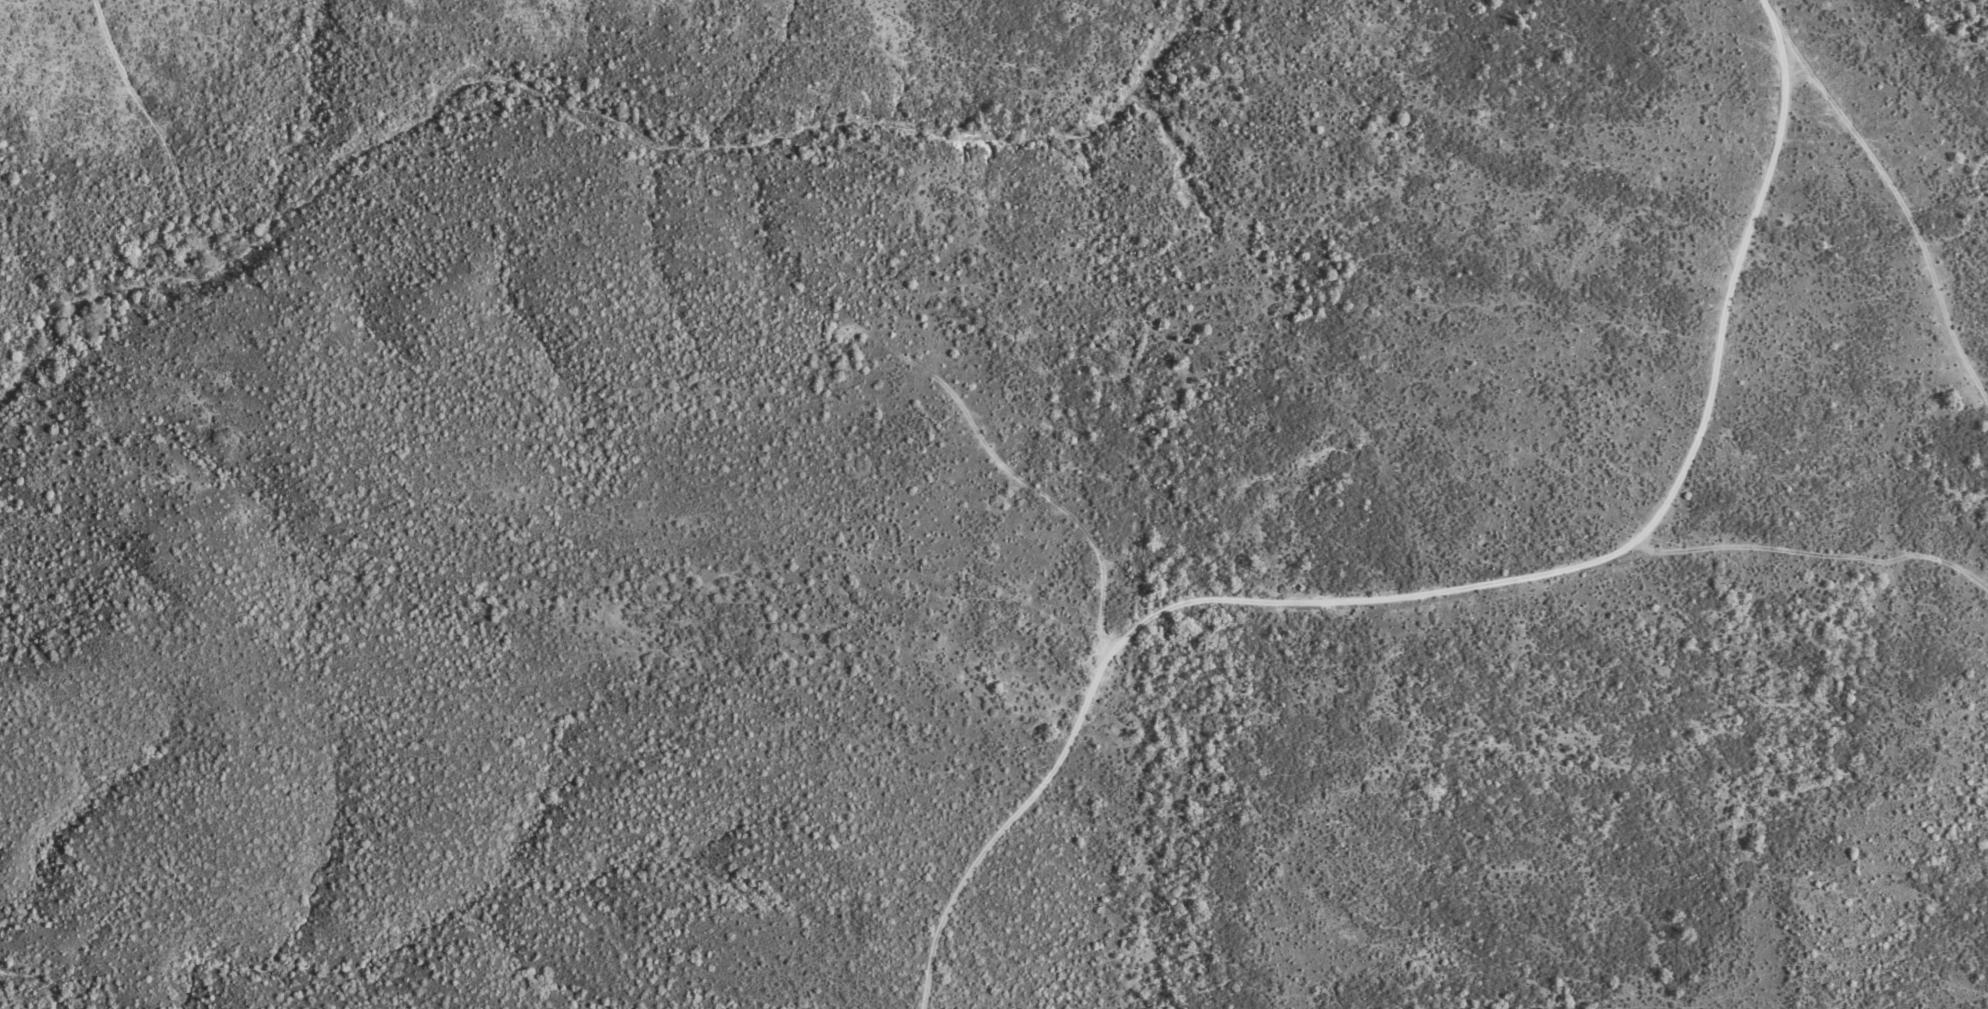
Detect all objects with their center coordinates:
road: (1903, 195)
road: (1807, 552)
road: (1457, 594)

